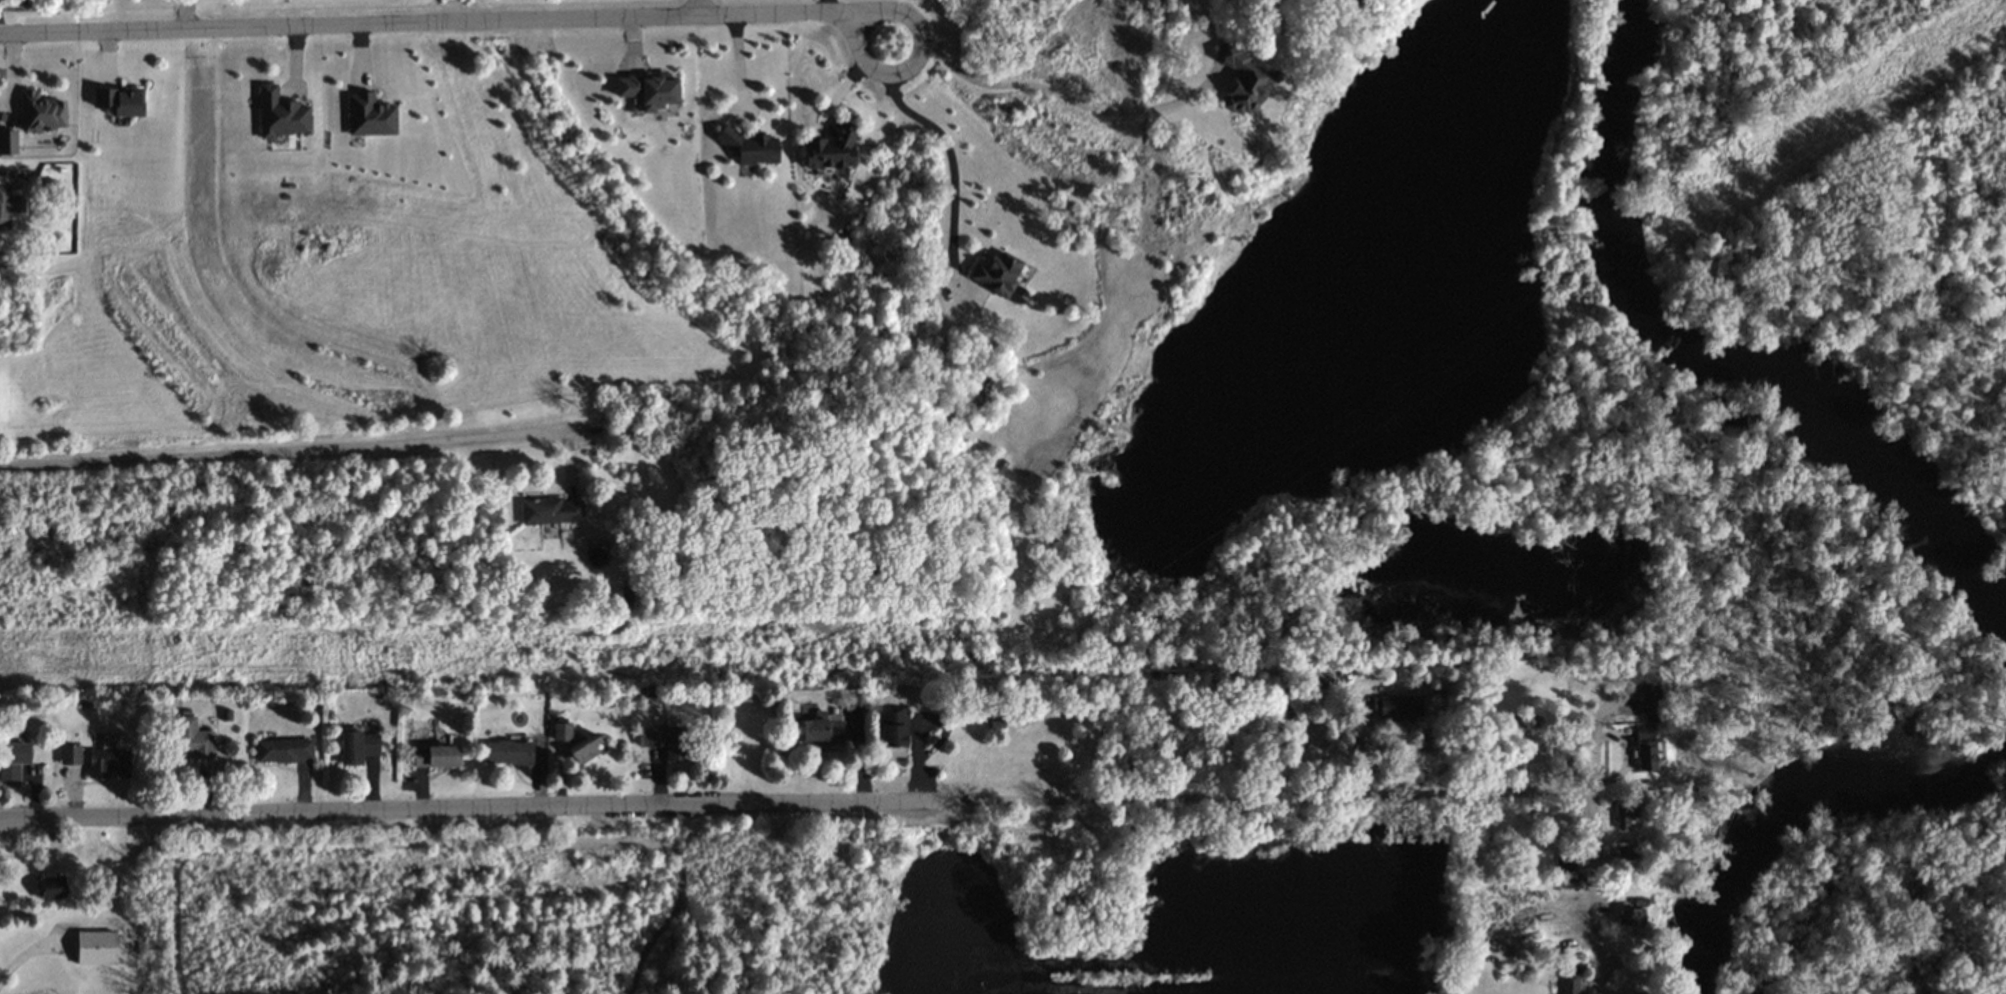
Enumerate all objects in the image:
road: (696, 7)
road: (183, 10)
road: (430, 17)
road: (860, 19)
road: (738, 68)
road: (16, 76)
building: (1243, 80)
building: (648, 90)
road: (1059, 96)
building: (120, 100)
building: (41, 112)
building: (280, 114)
building: (369, 115)
building: (8, 142)
building: (748, 146)
building: (831, 149)
road: (951, 165)
building: (8, 205)
power tower: (1701, 214)
building: (995, 274)
river: (1709, 352)
road: (284, 442)
building: (550, 510)
power tower: (1024, 655)
building: (1646, 689)
building: (1397, 707)
building: (893, 727)
building: (819, 728)
road: (1602, 728)
building: (562, 732)
building: (664, 738)
building: (191, 739)
building: (357, 747)
building: (1645, 748)
building: (584, 749)
building: (282, 750)
building: (508, 752)
building: (70, 755)
building: (436, 756)
building: (12, 759)
building: (108, 762)
road: (1655, 793)
road: (800, 801)
river: (1794, 802)
building: (1624, 816)
road: (434, 843)
building: (1624, 855)
building: (1563, 863)
road: (1600, 878)
building: (1568, 882)
building: (51, 887)
park: (838, 911)
building: (1631, 916)
building: (96, 947)
building: (1567, 981)
building: (1636, 993)

